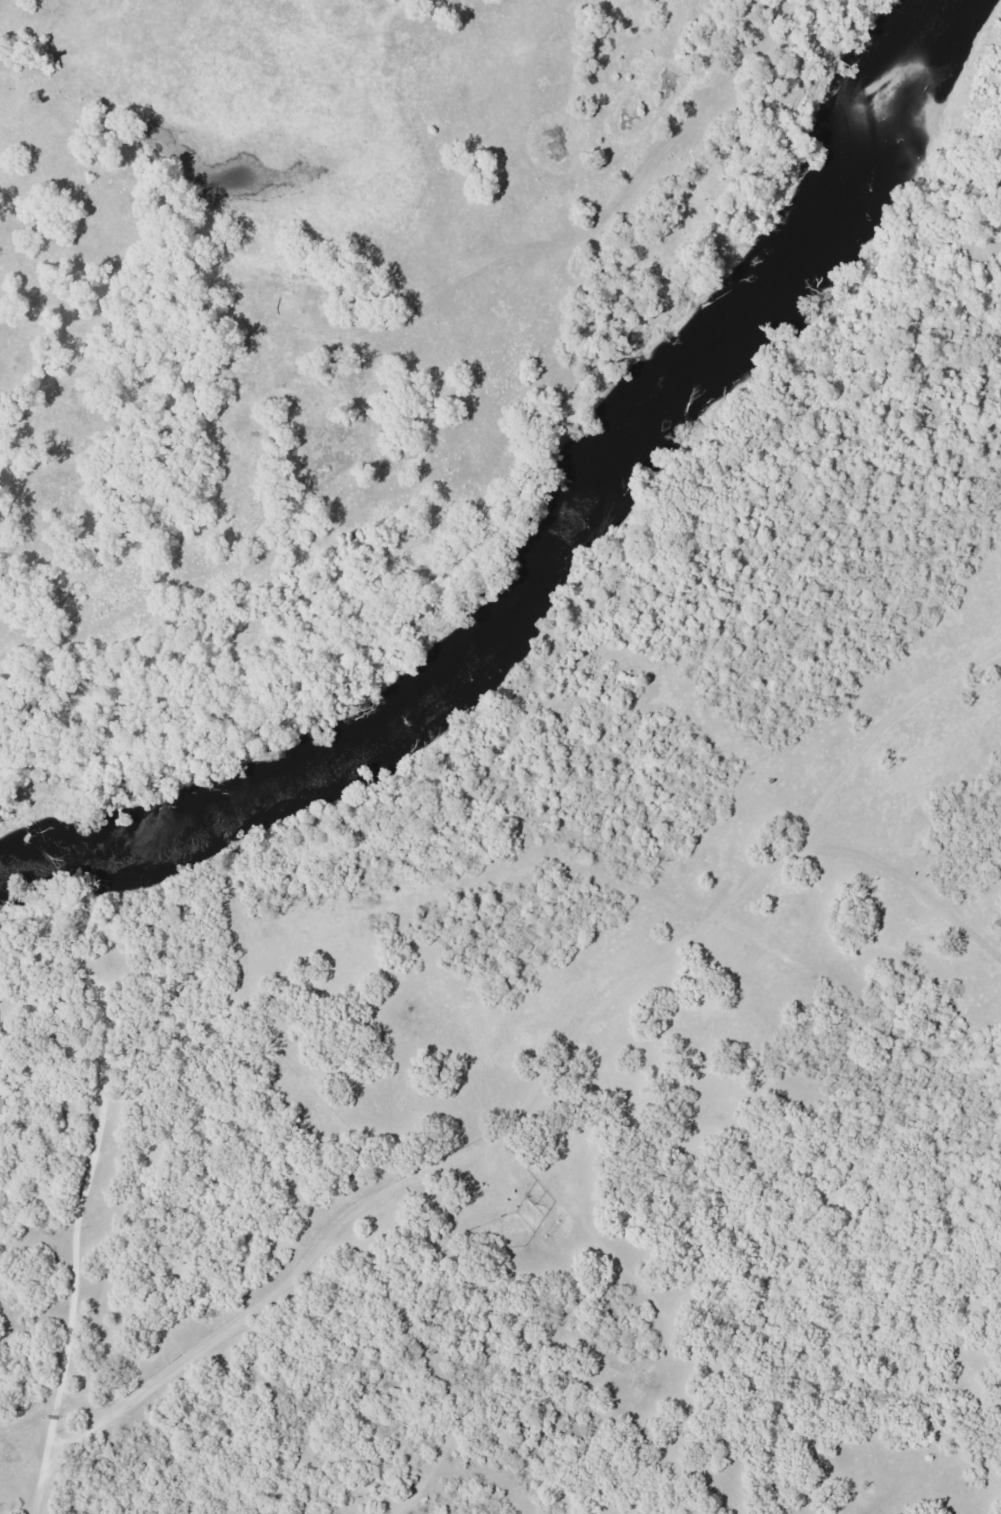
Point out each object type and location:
road: (465, 325)
road: (17, 414)
river: (548, 532)
road: (543, 1093)
building: (1, 1105)
road: (108, 1216)

